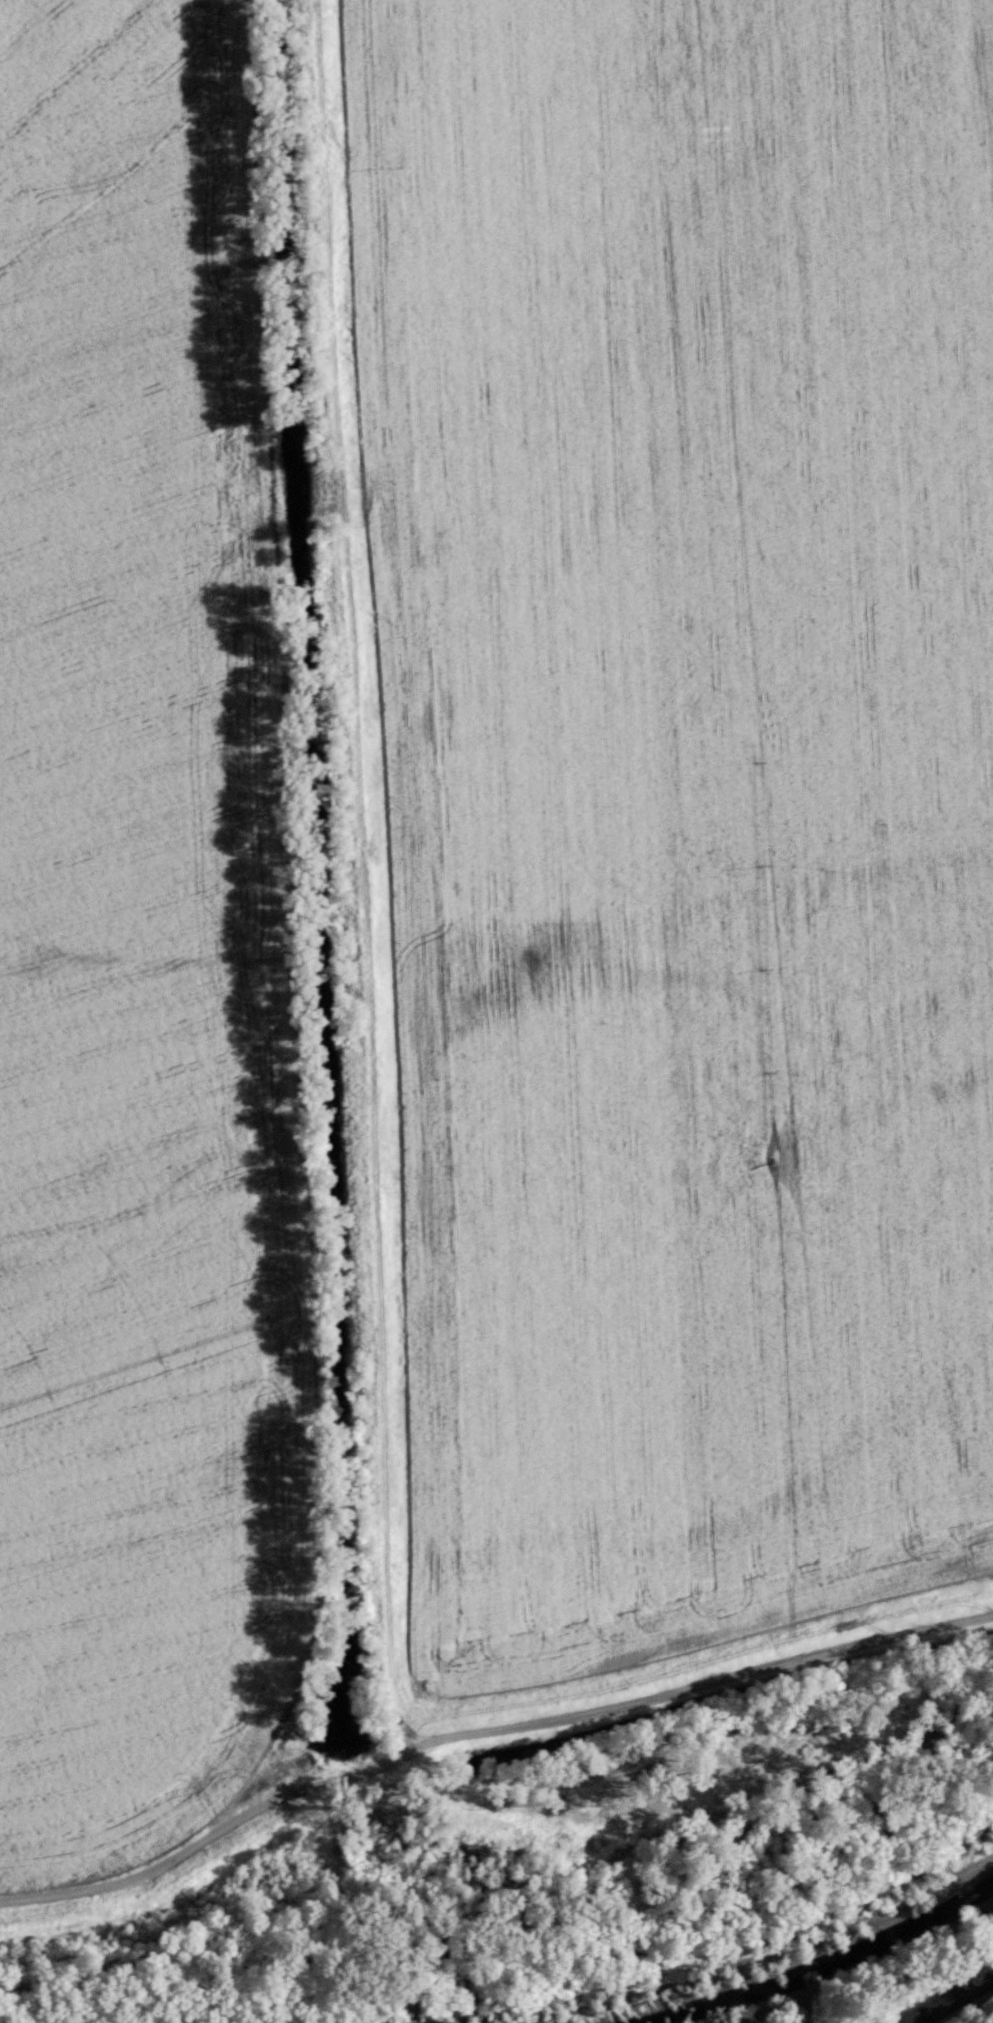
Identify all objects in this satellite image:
railway: (942, 1994)
railway: (954, 2002)

